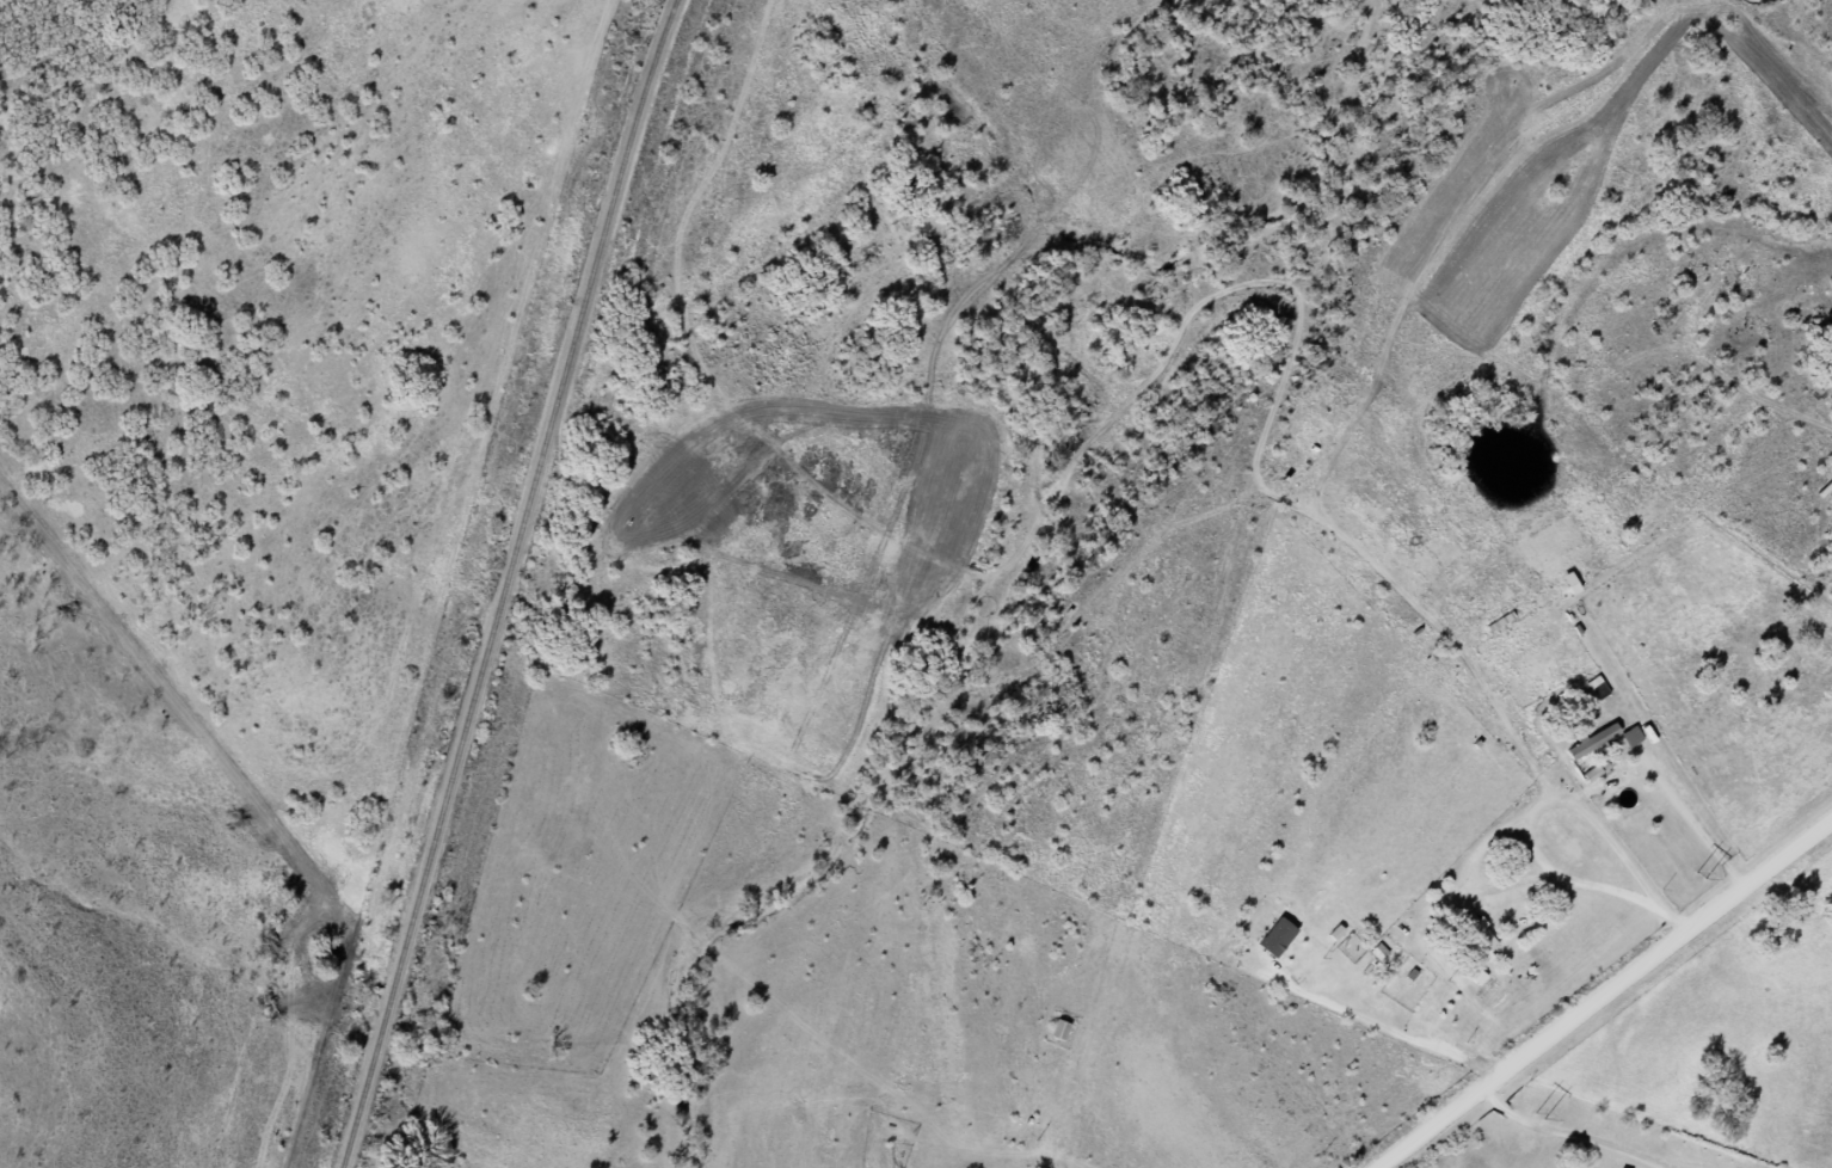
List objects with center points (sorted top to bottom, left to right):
railway: (502, 582)
road: (1492, 683)
building: (1586, 740)
power tower: (1698, 874)
building: (1470, 934)
road: (1605, 995)
building: (1053, 1028)
power tower: (1537, 1114)
road: (1566, 1133)

